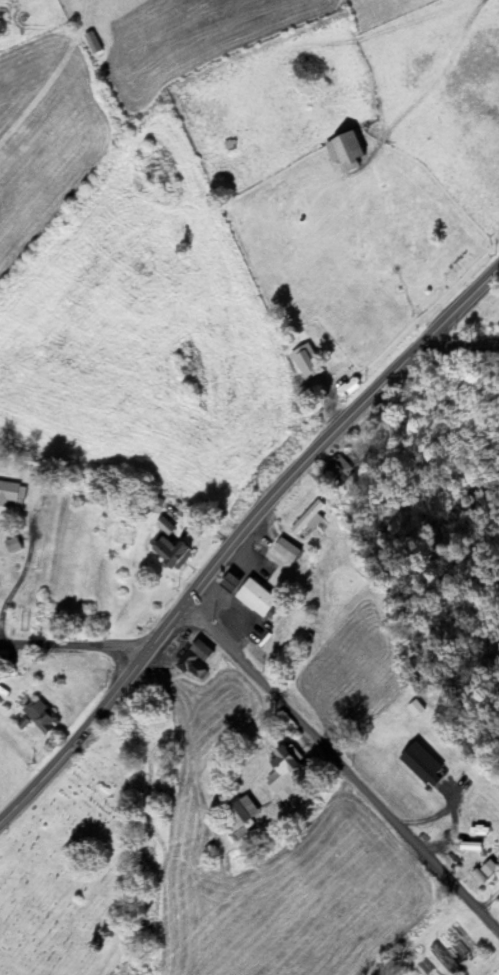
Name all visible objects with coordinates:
road: (401, 113)
building: (342, 151)
building: (489, 318)
road: (460, 348)
building: (308, 362)
building: (334, 473)
building: (11, 493)
building: (151, 504)
building: (311, 516)
building: (163, 527)
road: (243, 541)
building: (291, 550)
building: (173, 551)
building: (262, 600)
road: (70, 643)
building: (199, 652)
building: (195, 671)
building: (419, 709)
building: (39, 717)
building: (424, 767)
building: (291, 773)
road: (341, 776)
building: (244, 812)
building: (234, 822)
building: (471, 849)
park: (72, 873)
road: (107, 952)

